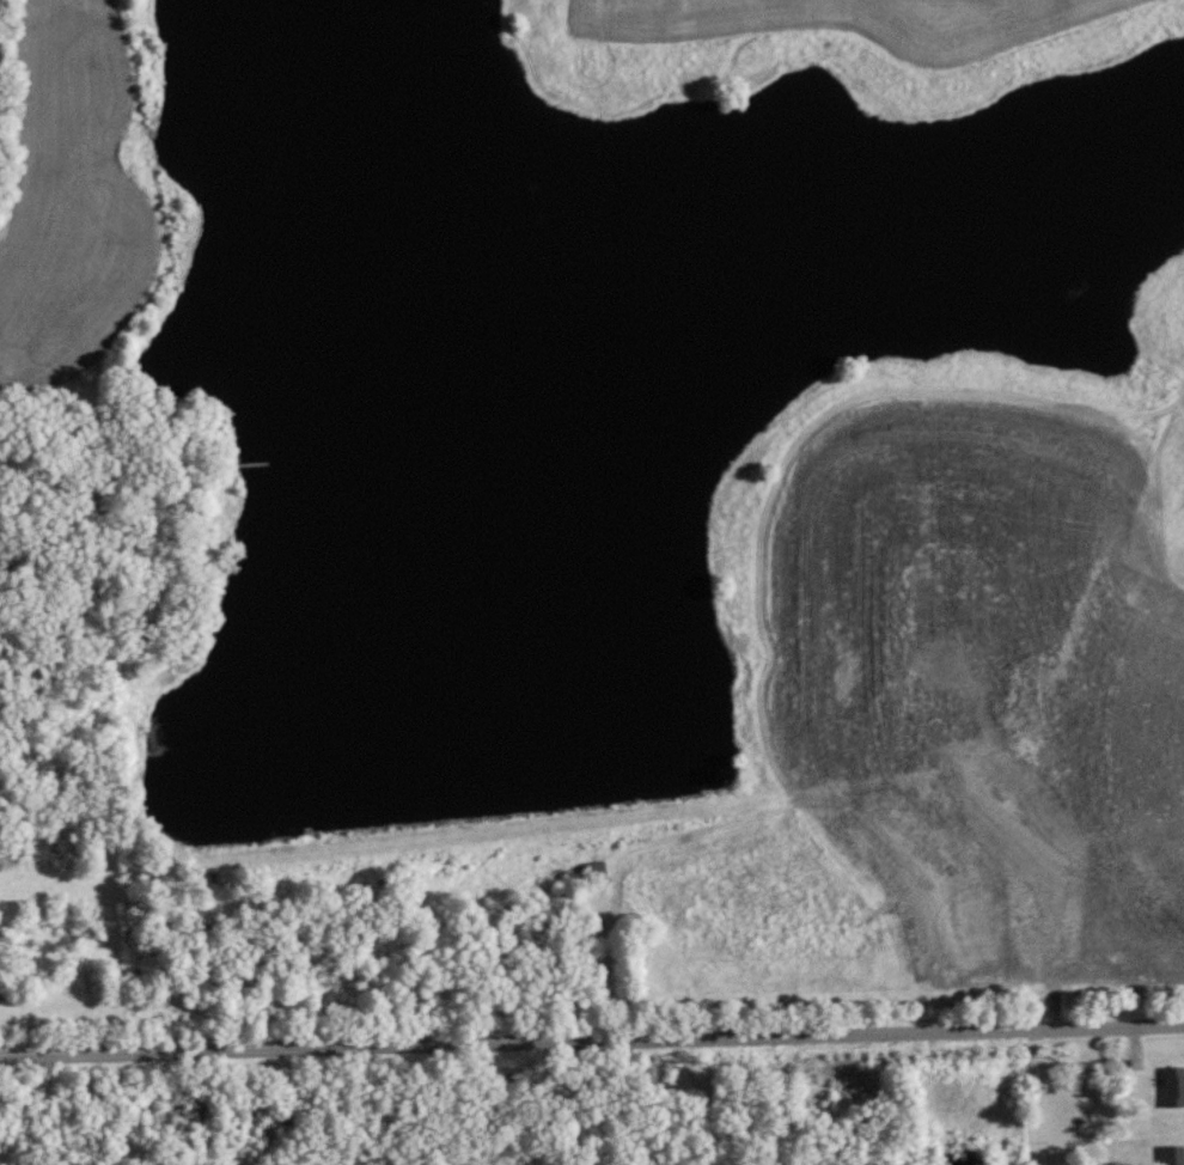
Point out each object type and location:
road: (591, 1039)
building: (1172, 1086)
road: (1035, 1098)
road: (604, 1102)
building: (1173, 1154)

